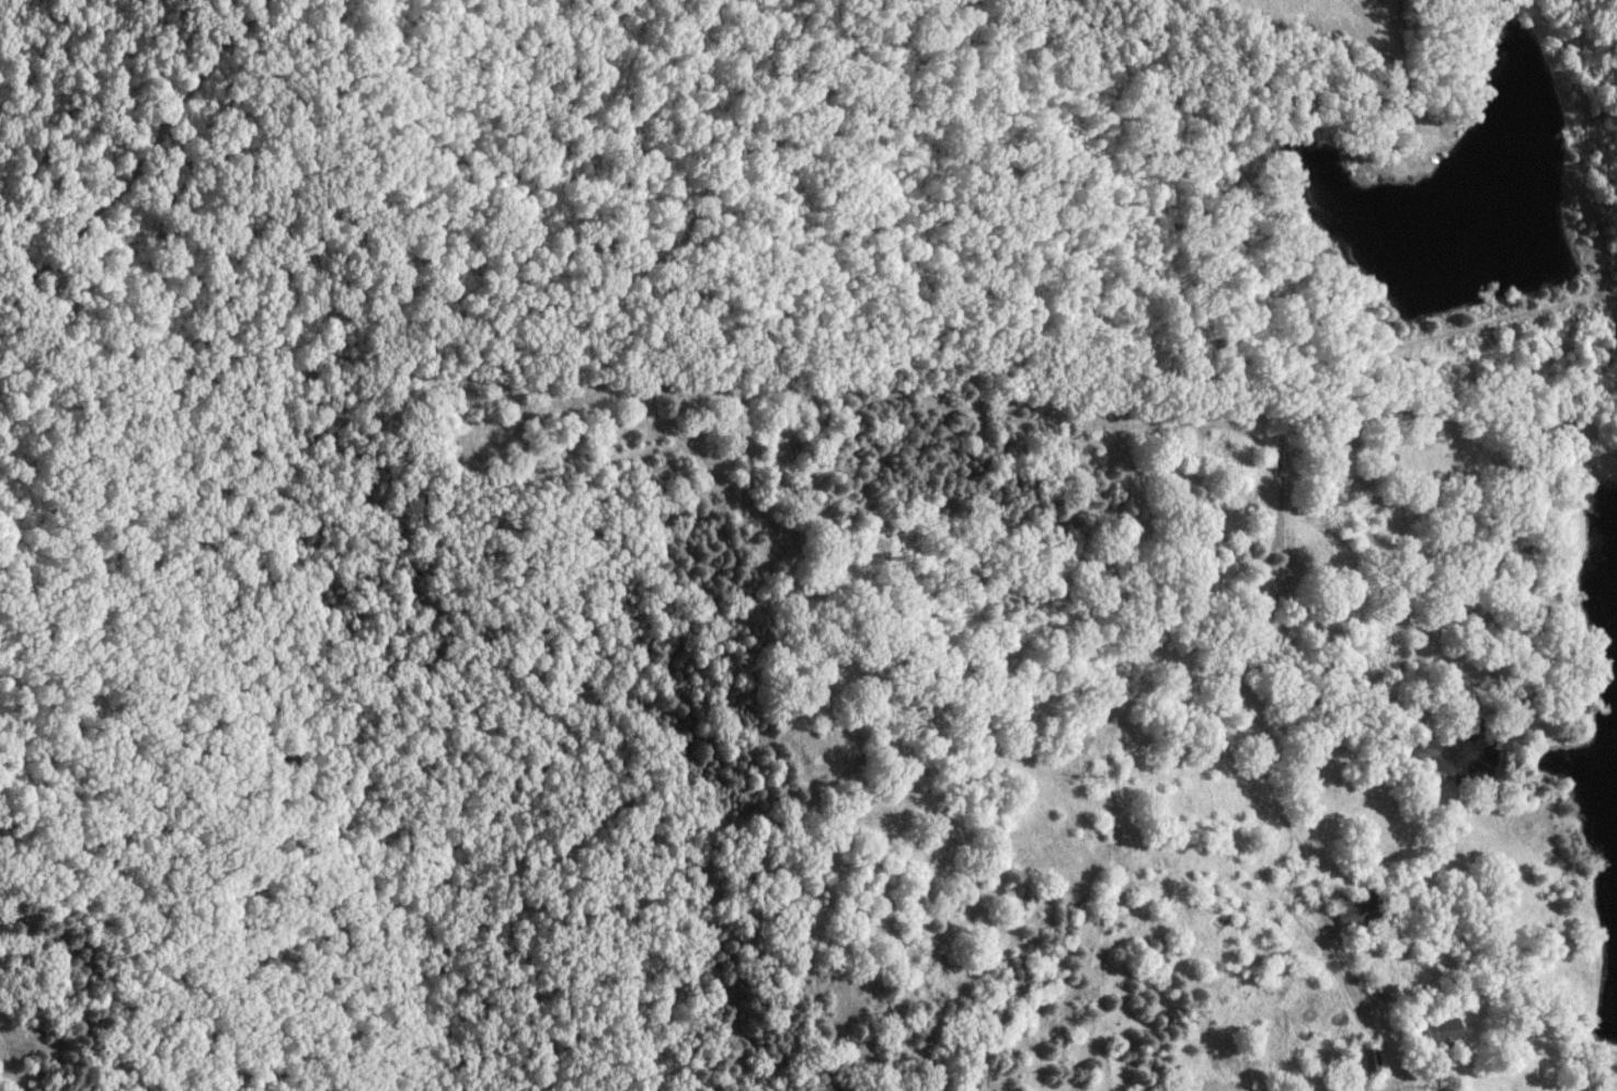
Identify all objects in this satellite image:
building: (1362, 909)
building: (1446, 1031)
building: (1366, 1065)
road: (1406, 1065)

